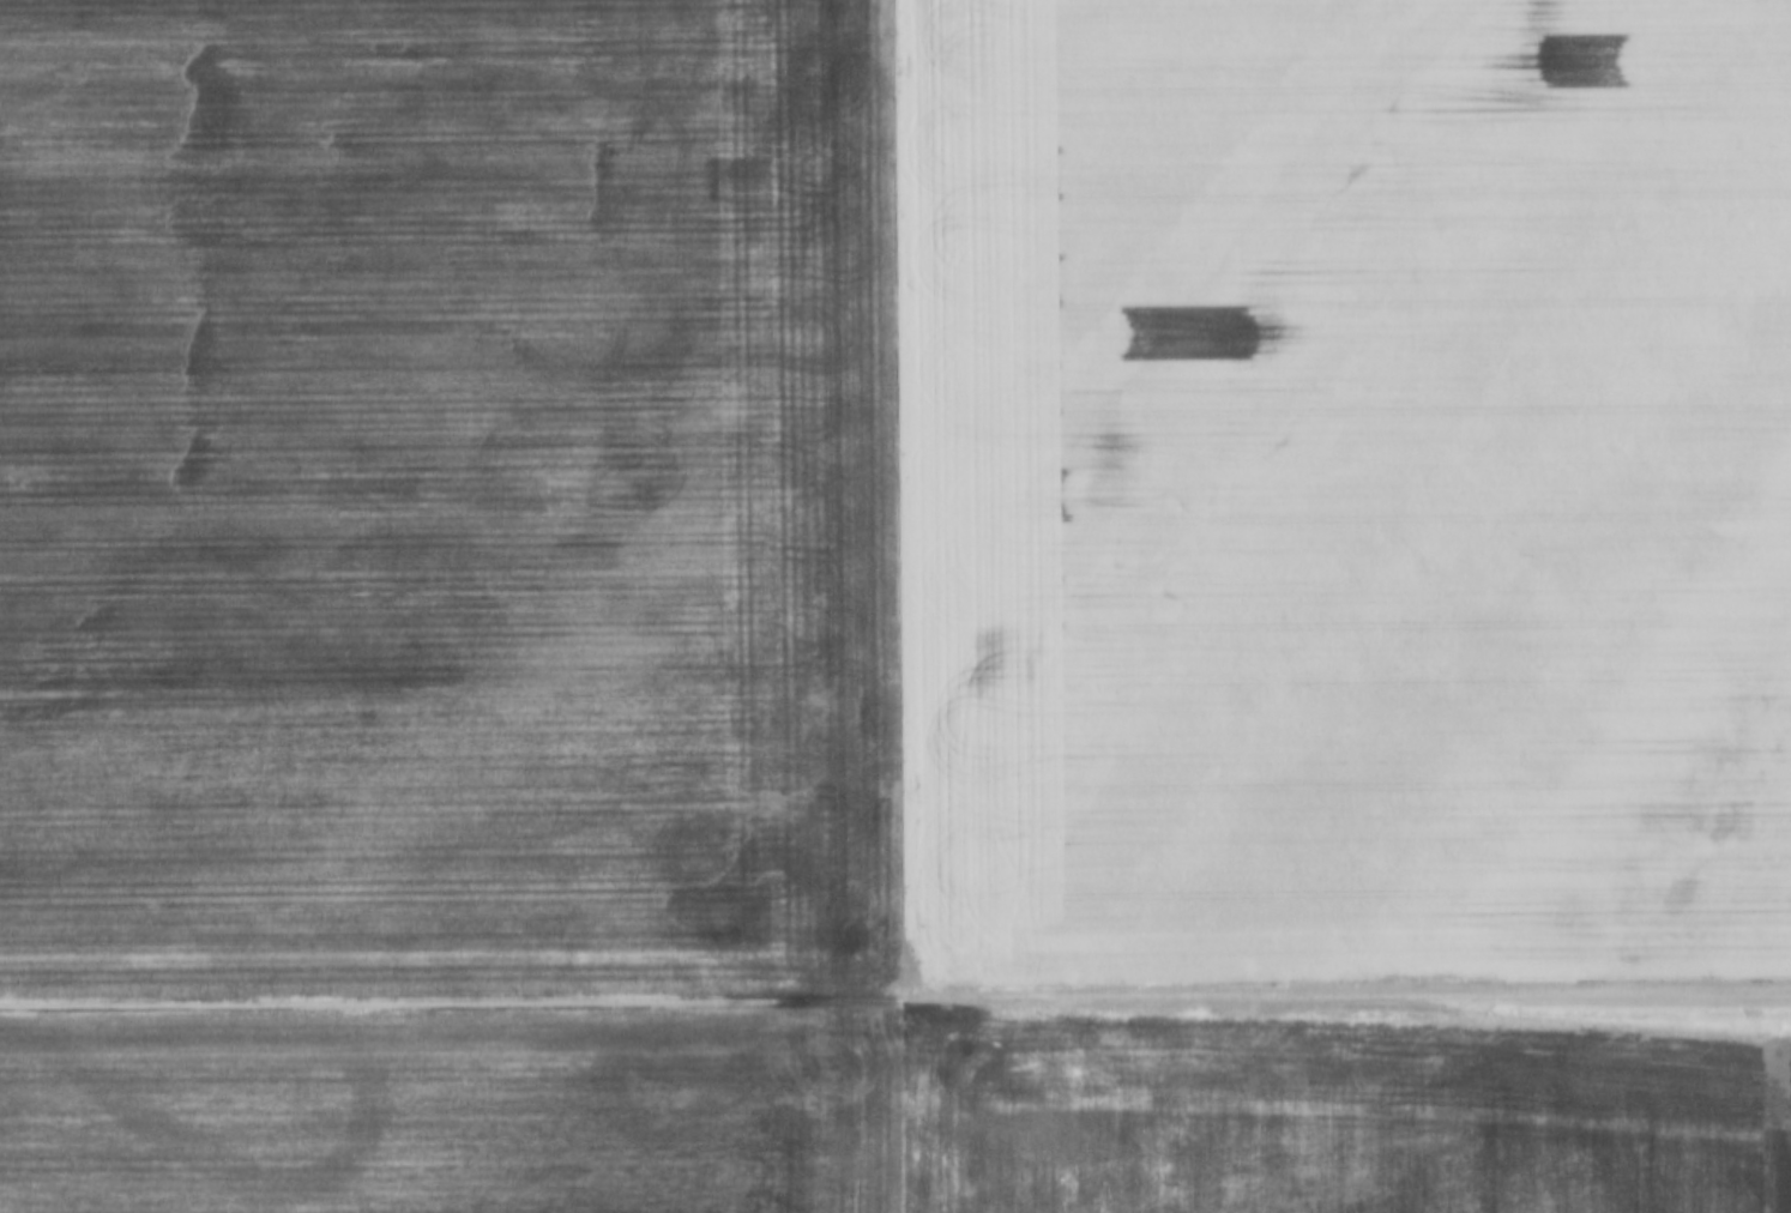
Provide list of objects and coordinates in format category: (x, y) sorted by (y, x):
road: (895, 1006)

